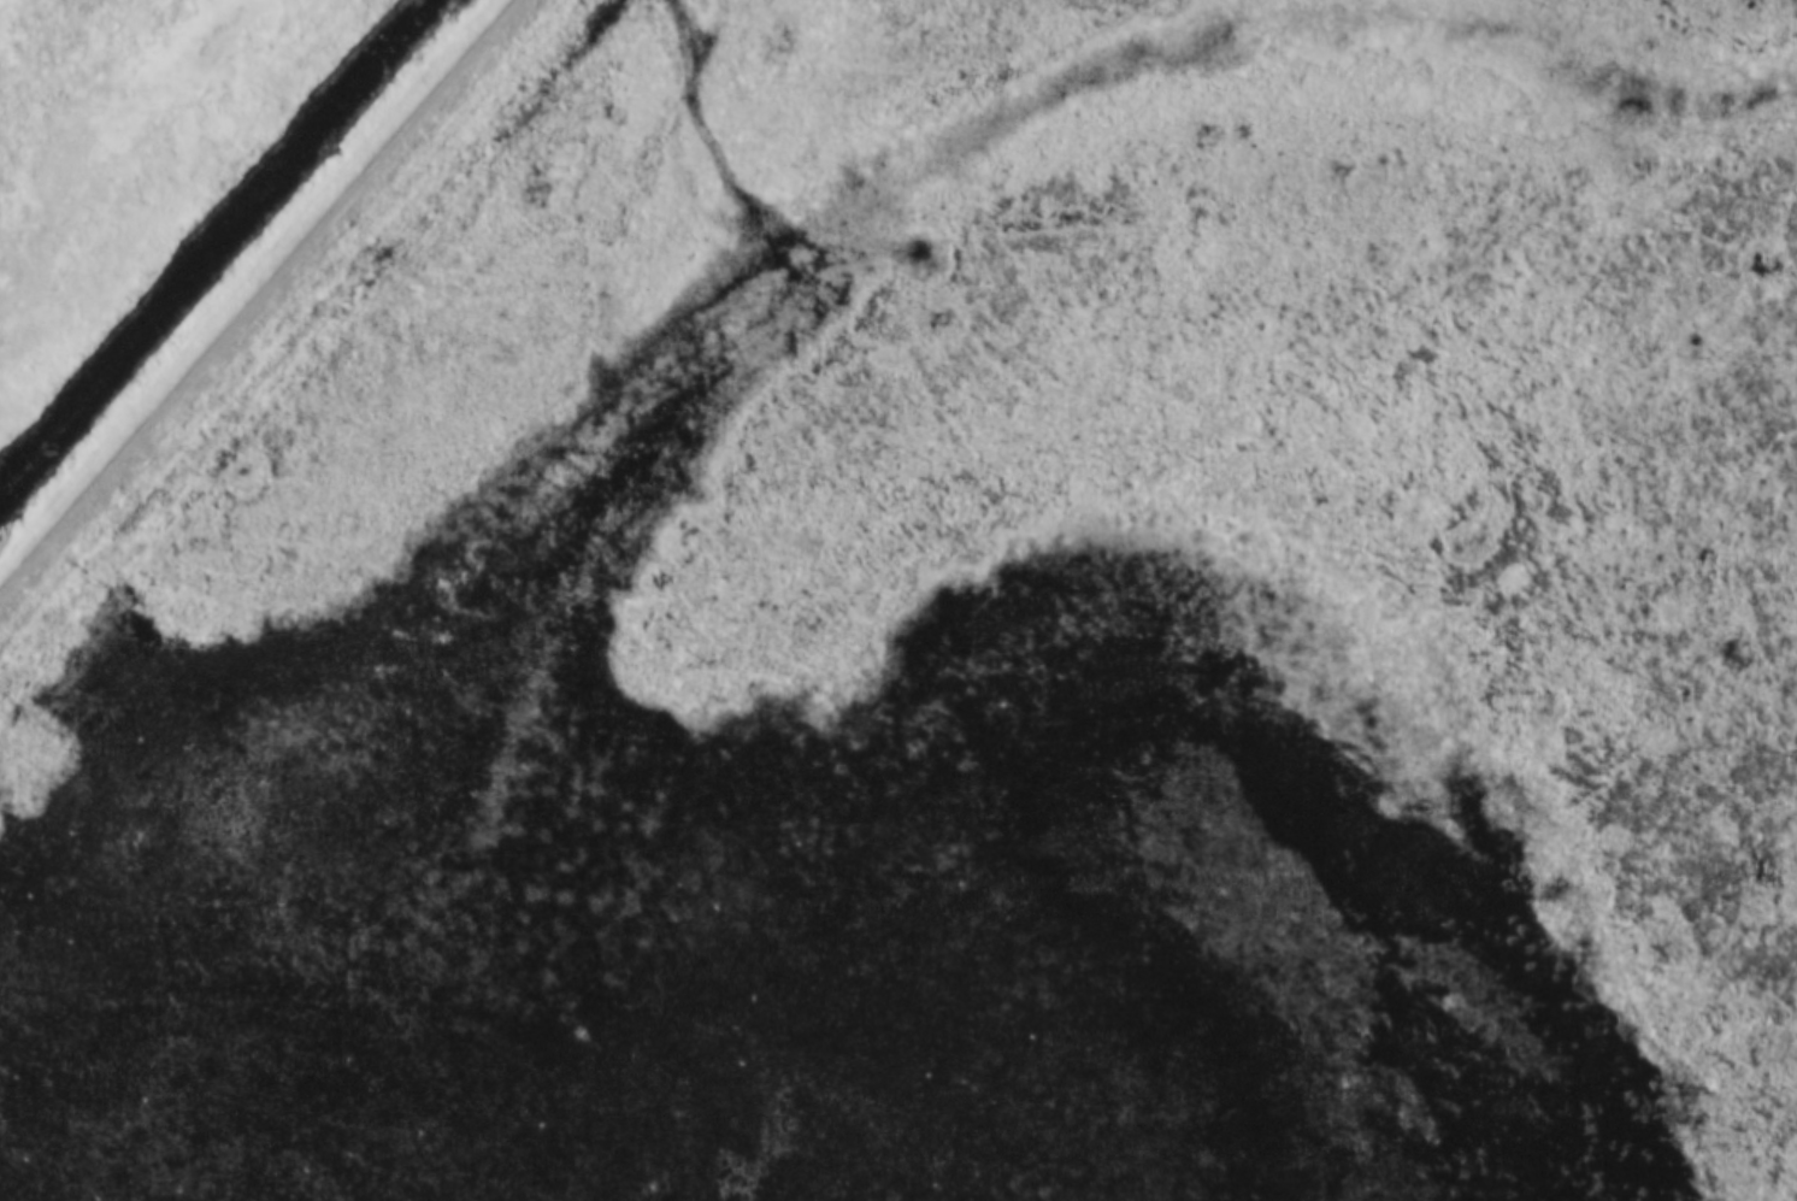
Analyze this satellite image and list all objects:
road: (258, 296)
dam: (272, 317)

